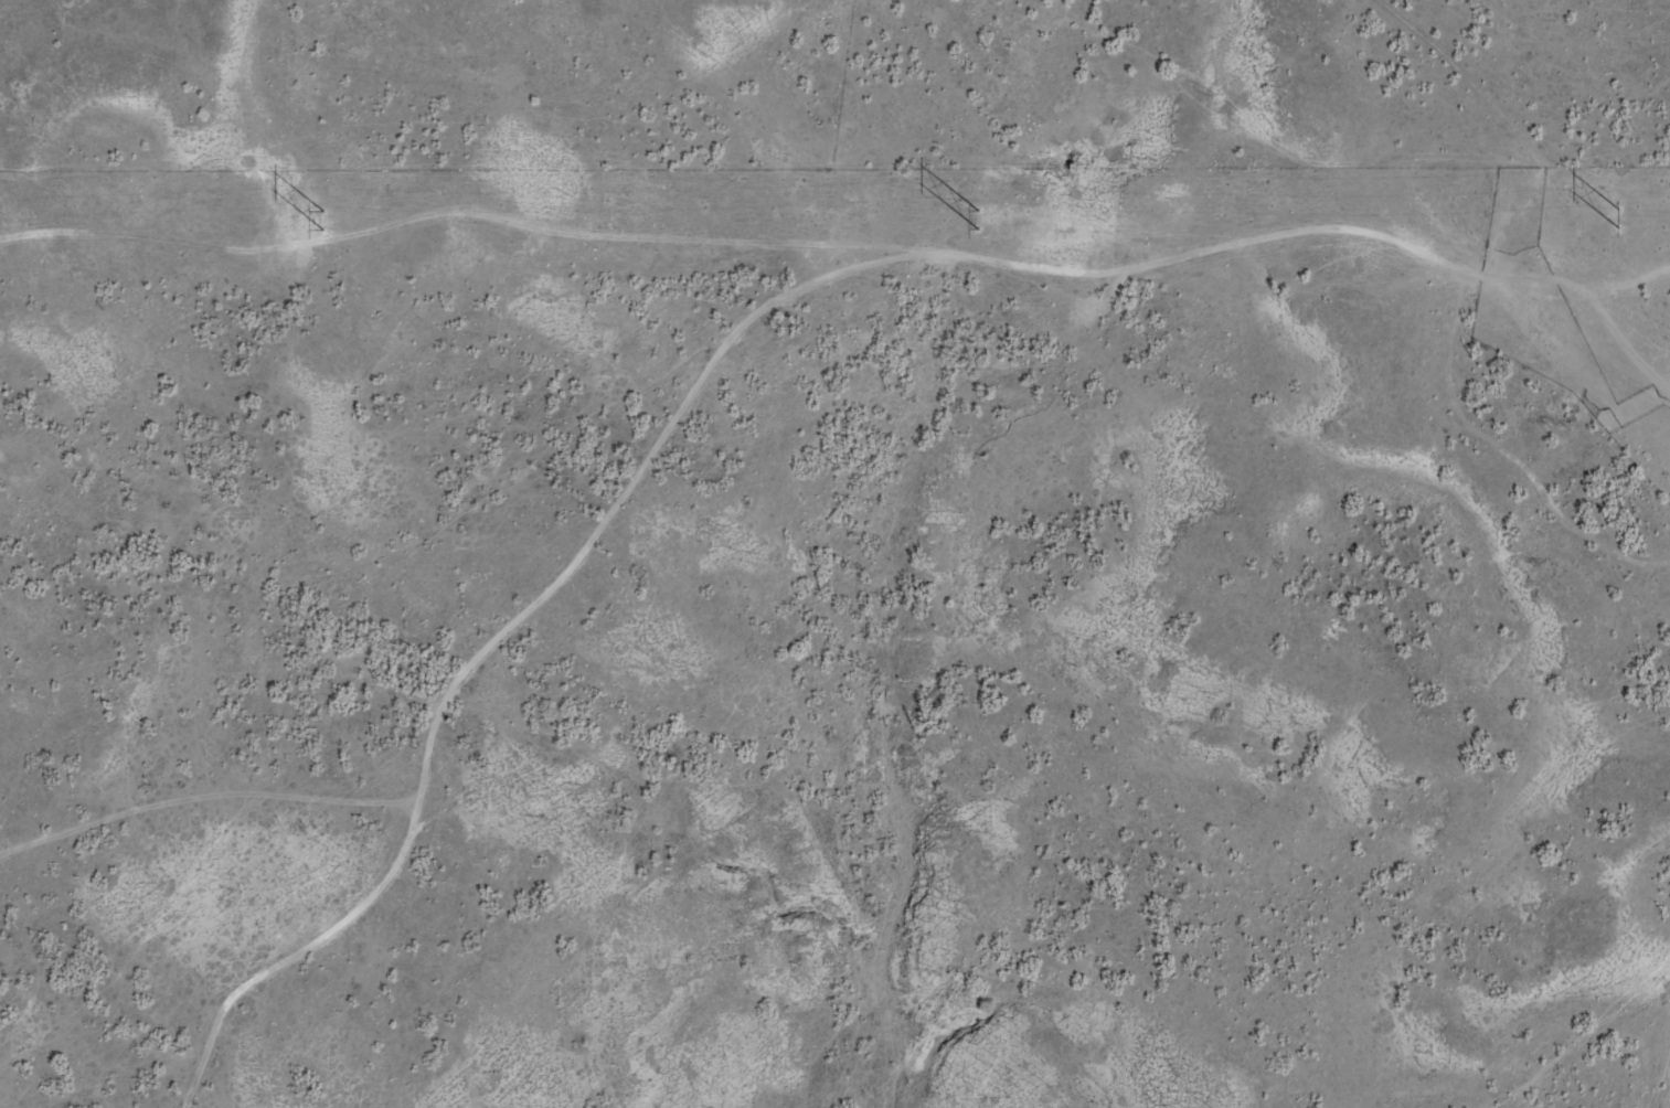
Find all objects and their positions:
power tower: (1624, 214)
power tower: (319, 219)
power tower: (980, 220)

